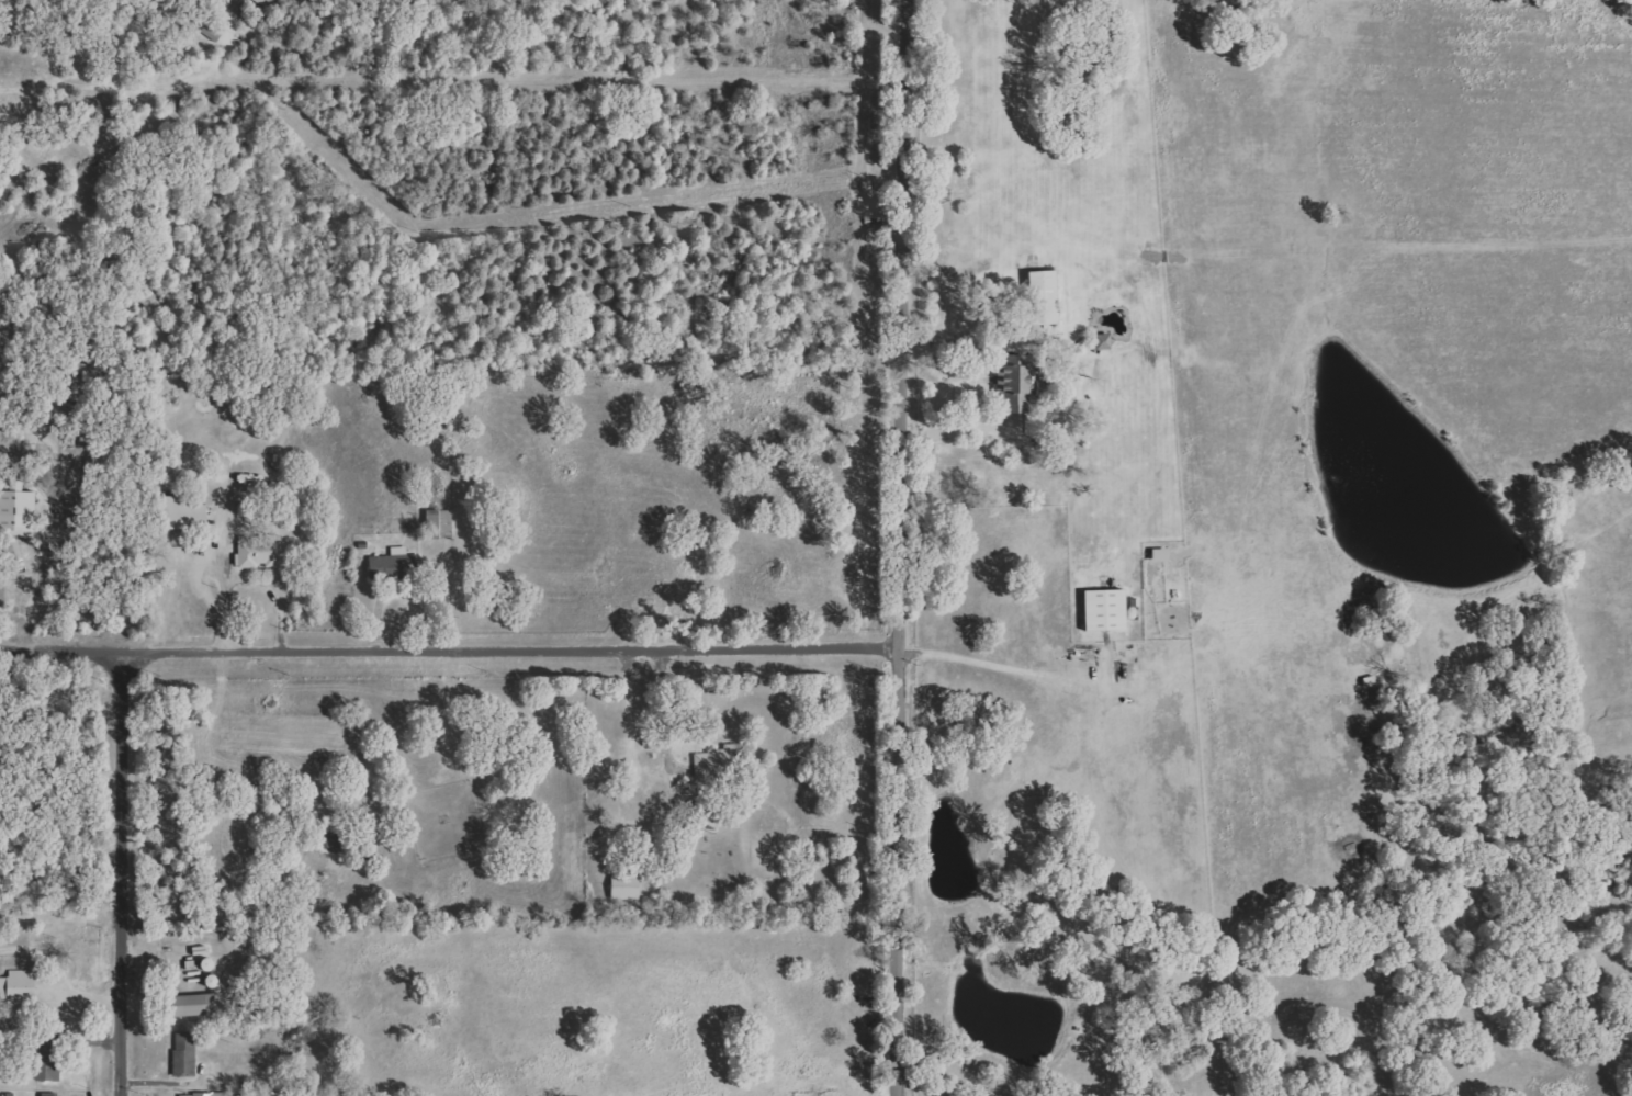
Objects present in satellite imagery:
building: (271, 3)
building: (1042, 297)
building: (1102, 341)
building: (1012, 382)
road: (982, 385)
building: (15, 511)
building: (180, 513)
building: (439, 522)
road: (898, 547)
building: (259, 551)
building: (1159, 554)
building: (1103, 609)
road: (449, 648)
road: (992, 660)
building: (720, 761)
road: (121, 873)
building: (623, 888)
road: (59, 974)
building: (22, 991)
building: (191, 1005)
building: (183, 1054)
building: (50, 1059)
building: (53, 1094)
building: (204, 1094)

